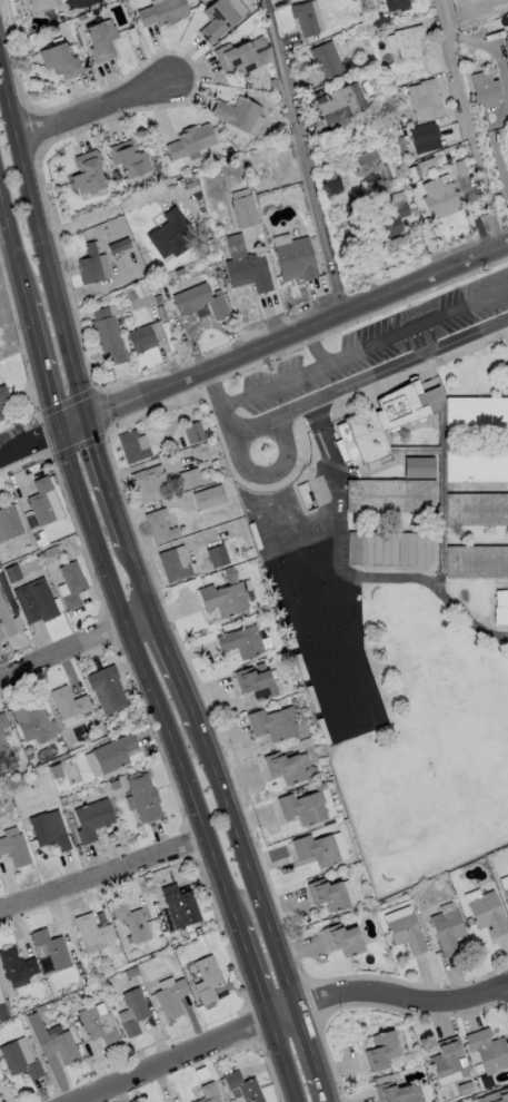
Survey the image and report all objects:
building: (372, 0)
building: (40, 4)
building: (397, 4)
building: (163, 12)
building: (305, 19)
building: (218, 20)
building: (101, 41)
building: (407, 42)
building: (506, 45)
building: (236, 59)
building: (60, 61)
building: (325, 62)
building: (486, 90)
building: (422, 96)
building: (341, 104)
road: (92, 112)
building: (238, 114)
road: (467, 125)
building: (424, 135)
building: (190, 141)
building: (507, 149)
road: (306, 156)
building: (130, 160)
building: (367, 160)
building: (88, 174)
building: (332, 188)
building: (440, 199)
road: (104, 211)
building: (245, 211)
building: (390, 223)
building: (171, 235)
road: (42, 245)
road: (12, 249)
building: (295, 260)
building: (90, 266)
building: (249, 273)
building: (139, 299)
building: (201, 302)
building: (109, 340)
building: (141, 340)
road: (315, 346)
road: (253, 351)
road: (345, 353)
road: (40, 366)
road: (375, 373)
building: (2, 404)
building: (477, 415)
building: (378, 430)
building: (193, 433)
road: (235, 436)
building: (132, 447)
building: (418, 468)
building: (476, 469)
building: (190, 479)
road: (103, 482)
building: (150, 484)
building: (390, 496)
building: (209, 498)
building: (41, 502)
building: (478, 512)
building: (9, 523)
building: (160, 528)
building: (389, 549)
building: (217, 557)
building: (477, 563)
building: (172, 567)
road: (138, 579)
building: (72, 584)
building: (223, 600)
building: (36, 602)
building: (501, 608)
building: (8, 622)
building: (242, 642)
road: (74, 647)
road: (173, 668)
road: (143, 680)
building: (257, 682)
building: (108, 687)
building: (68, 703)
building: (32, 724)
building: (273, 725)
building: (3, 742)
building: (113, 754)
building: (285, 768)
building: (143, 798)
building: (303, 808)
building: (92, 819)
building: (49, 830)
building: (14, 848)
building: (317, 850)
road: (246, 863)
road: (101, 874)
building: (506, 894)
building: (328, 895)
building: (180, 907)
building: (488, 914)
building: (132, 922)
building: (92, 932)
building: (448, 933)
building: (407, 934)
building: (343, 941)
building: (52, 950)
building: (17, 967)
road: (253, 973)
building: (208, 980)
road: (402, 995)
building: (171, 997)
building: (135, 1012)
road: (283, 1013)
building: (97, 1027)
building: (54, 1042)
building: (488, 1051)
building: (381, 1052)
road: (312, 1054)
building: (446, 1057)
road: (173, 1060)
road: (282, 1060)
building: (19, 1062)
building: (461, 1062)
building: (485, 1083)
building: (243, 1088)
building: (209, 1093)
building: (392, 1093)
building: (497, 1096)
building: (441, 1100)

